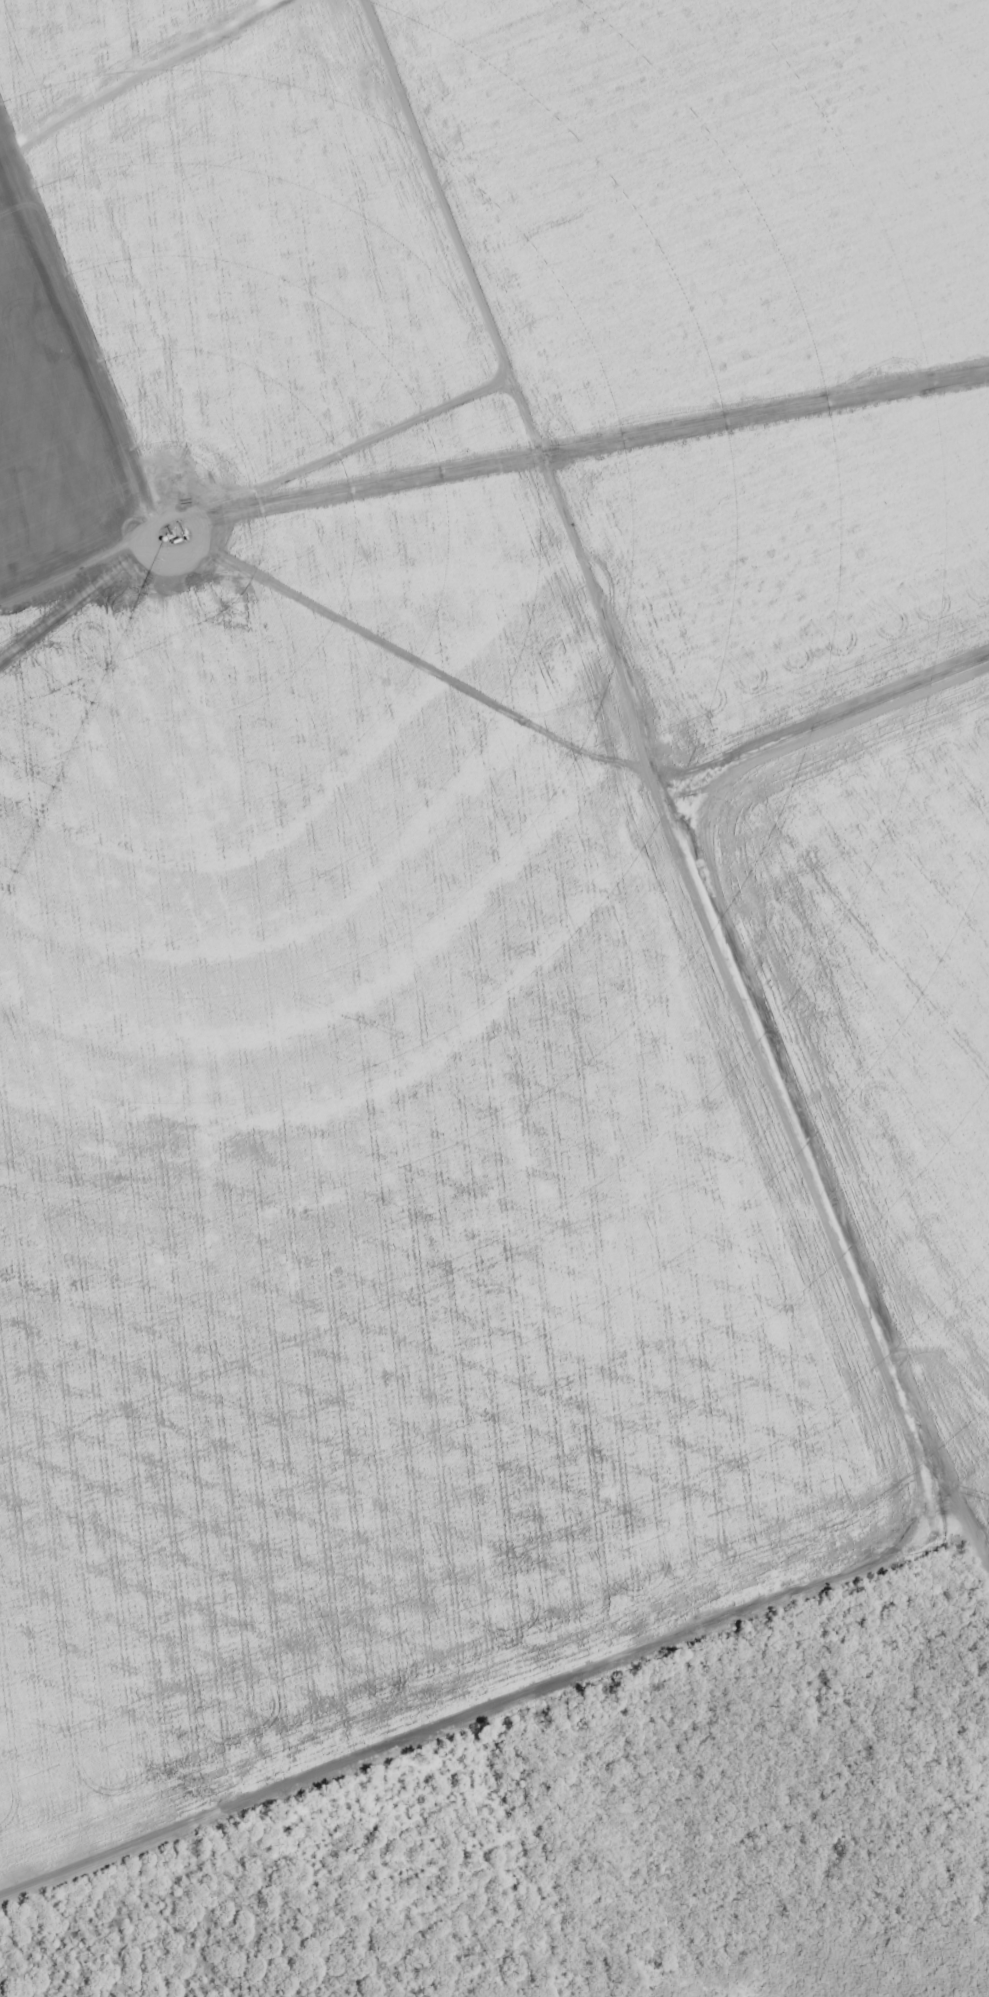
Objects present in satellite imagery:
road: (770, 1026)

